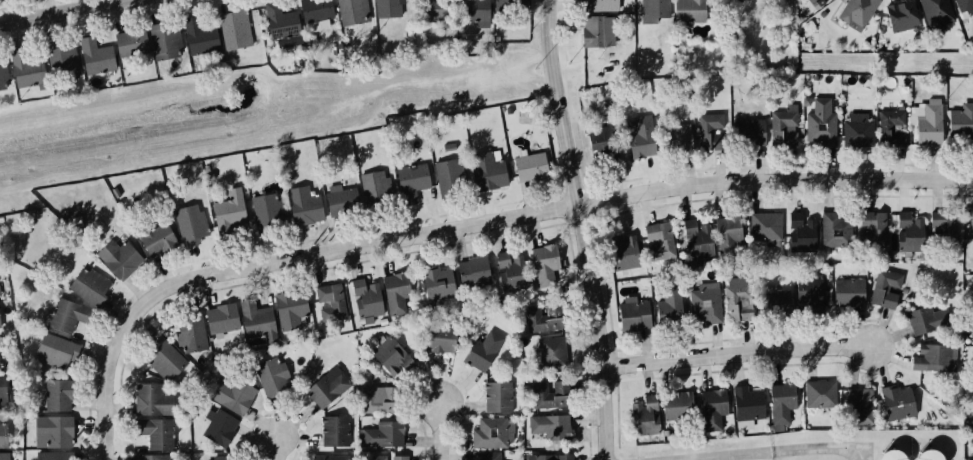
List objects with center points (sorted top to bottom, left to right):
building: (740, 0)
building: (508, 2)
building: (599, 5)
building: (963, 5)
building: (389, 7)
building: (314, 9)
building: (435, 9)
building: (474, 9)
building: (652, 9)
building: (689, 10)
road: (62, 11)
building: (353, 11)
building: (857, 11)
building: (935, 13)
building: (898, 15)
building: (282, 23)
building: (236, 30)
building: (594, 30)
building: (164, 34)
building: (131, 42)
building: (200, 42)
building: (102, 58)
building: (67, 62)
building: (33, 71)
building: (2, 73)
building: (961, 120)
building: (926, 122)
building: (819, 124)
building: (783, 126)
building: (891, 127)
building: (708, 128)
building: (856, 130)
building: (746, 131)
building: (675, 133)
building: (641, 136)
building: (596, 142)
building: (448, 145)
building: (529, 166)
building: (445, 171)
building: (485, 171)
building: (410, 180)
building: (375, 184)
building: (340, 199)
building: (301, 205)
building: (229, 209)
road: (552, 209)
building: (263, 211)
building: (972, 213)
building: (192, 224)
building: (944, 226)
building: (725, 228)
building: (764, 228)
road: (580, 229)
building: (872, 229)
building: (834, 231)
building: (909, 231)
building: (799, 232)
building: (695, 236)
building: (160, 237)
building: (656, 241)
building: (623, 251)
building: (121, 256)
building: (544, 258)
building: (509, 270)
building: (471, 271)
building: (437, 282)
building: (94, 285)
building: (884, 285)
building: (845, 290)
building: (806, 291)
building: (395, 292)
building: (0, 296)
building: (365, 298)
building: (703, 300)
building: (772, 300)
building: (329, 301)
building: (735, 303)
building: (667, 305)
building: (289, 308)
building: (631, 312)
building: (71, 314)
building: (222, 317)
building: (542, 317)
building: (1, 319)
building: (918, 319)
building: (257, 322)
building: (972, 328)
building: (192, 332)
building: (438, 337)
building: (61, 349)
building: (482, 349)
building: (551, 350)
building: (389, 355)
road: (733, 356)
building: (931, 357)
building: (166, 358)
building: (274, 373)
road: (106, 376)
building: (3, 386)
building: (327, 387)
building: (818, 392)
building: (62, 393)
building: (237, 394)
building: (498, 395)
building: (550, 395)
building: (371, 396)
building: (155, 400)
building: (972, 400)
building: (746, 402)
building: (779, 403)
building: (895, 403)
building: (672, 405)
building: (710, 406)
building: (858, 406)
building: (642, 419)
building: (550, 424)
building: (744, 424)
building: (224, 427)
building: (335, 429)
building: (58, 430)
building: (490, 431)
building: (158, 432)
road: (439, 432)
building: (4, 433)
building: (381, 435)
road: (278, 449)
road: (784, 452)
building: (885, 454)
storage tank: (885, 454)
building: (922, 454)
storage tank: (922, 454)
building: (55, 455)
building: (486, 455)
building: (5, 456)
building: (156, 457)
building: (232, 457)
building: (545, 457)
building: (332, 458)
building: (389, 458)

